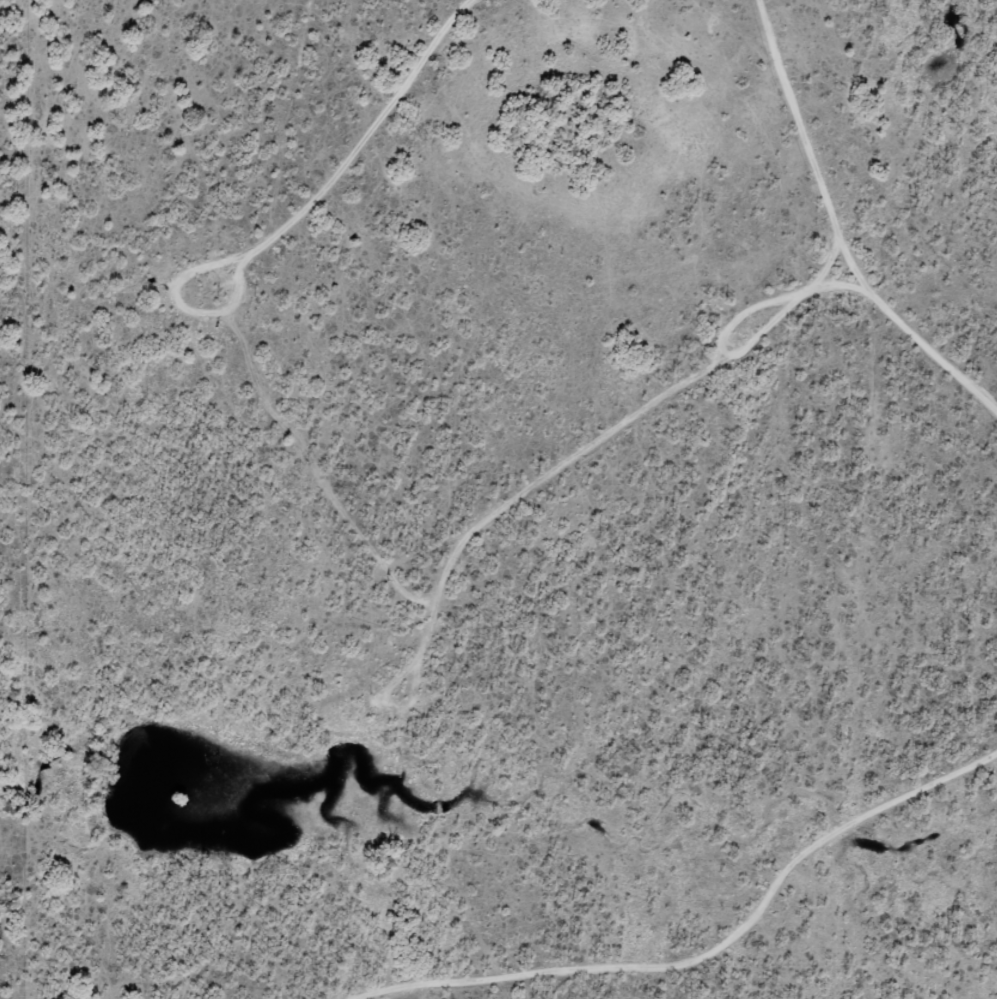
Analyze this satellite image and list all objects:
road: (710, 477)
road: (816, 887)
road: (98, 941)

